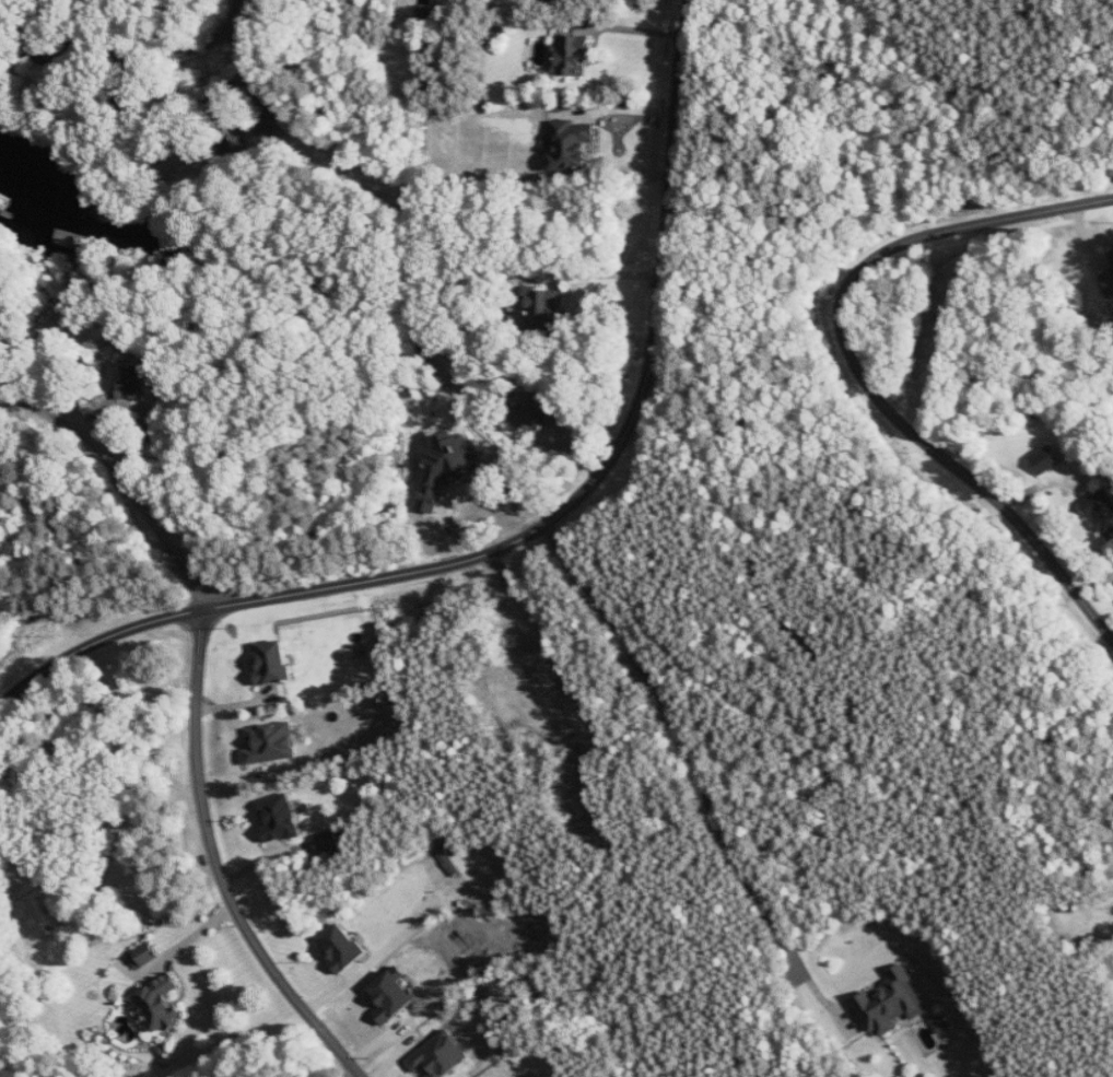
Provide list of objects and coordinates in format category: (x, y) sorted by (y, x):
road: (237, 16)
road: (631, 28)
building: (574, 55)
building: (268, 130)
building: (68, 238)
building: (1112, 251)
road: (608, 273)
building: (1109, 282)
building: (547, 309)
road: (868, 377)
building: (131, 382)
building: (543, 415)
building: (1048, 458)
building: (450, 468)
road: (120, 481)
building: (1103, 513)
road: (536, 528)
building: (273, 663)
building: (272, 744)
road: (701, 764)
road: (151, 780)
building: (281, 822)
building: (330, 842)
building: (450, 863)
road: (221, 865)
road: (189, 940)
building: (342, 947)
road: (384, 950)
building: (145, 956)
building: (394, 995)
building: (892, 1003)
building: (162, 1004)
building: (941, 1023)
building: (441, 1056)

